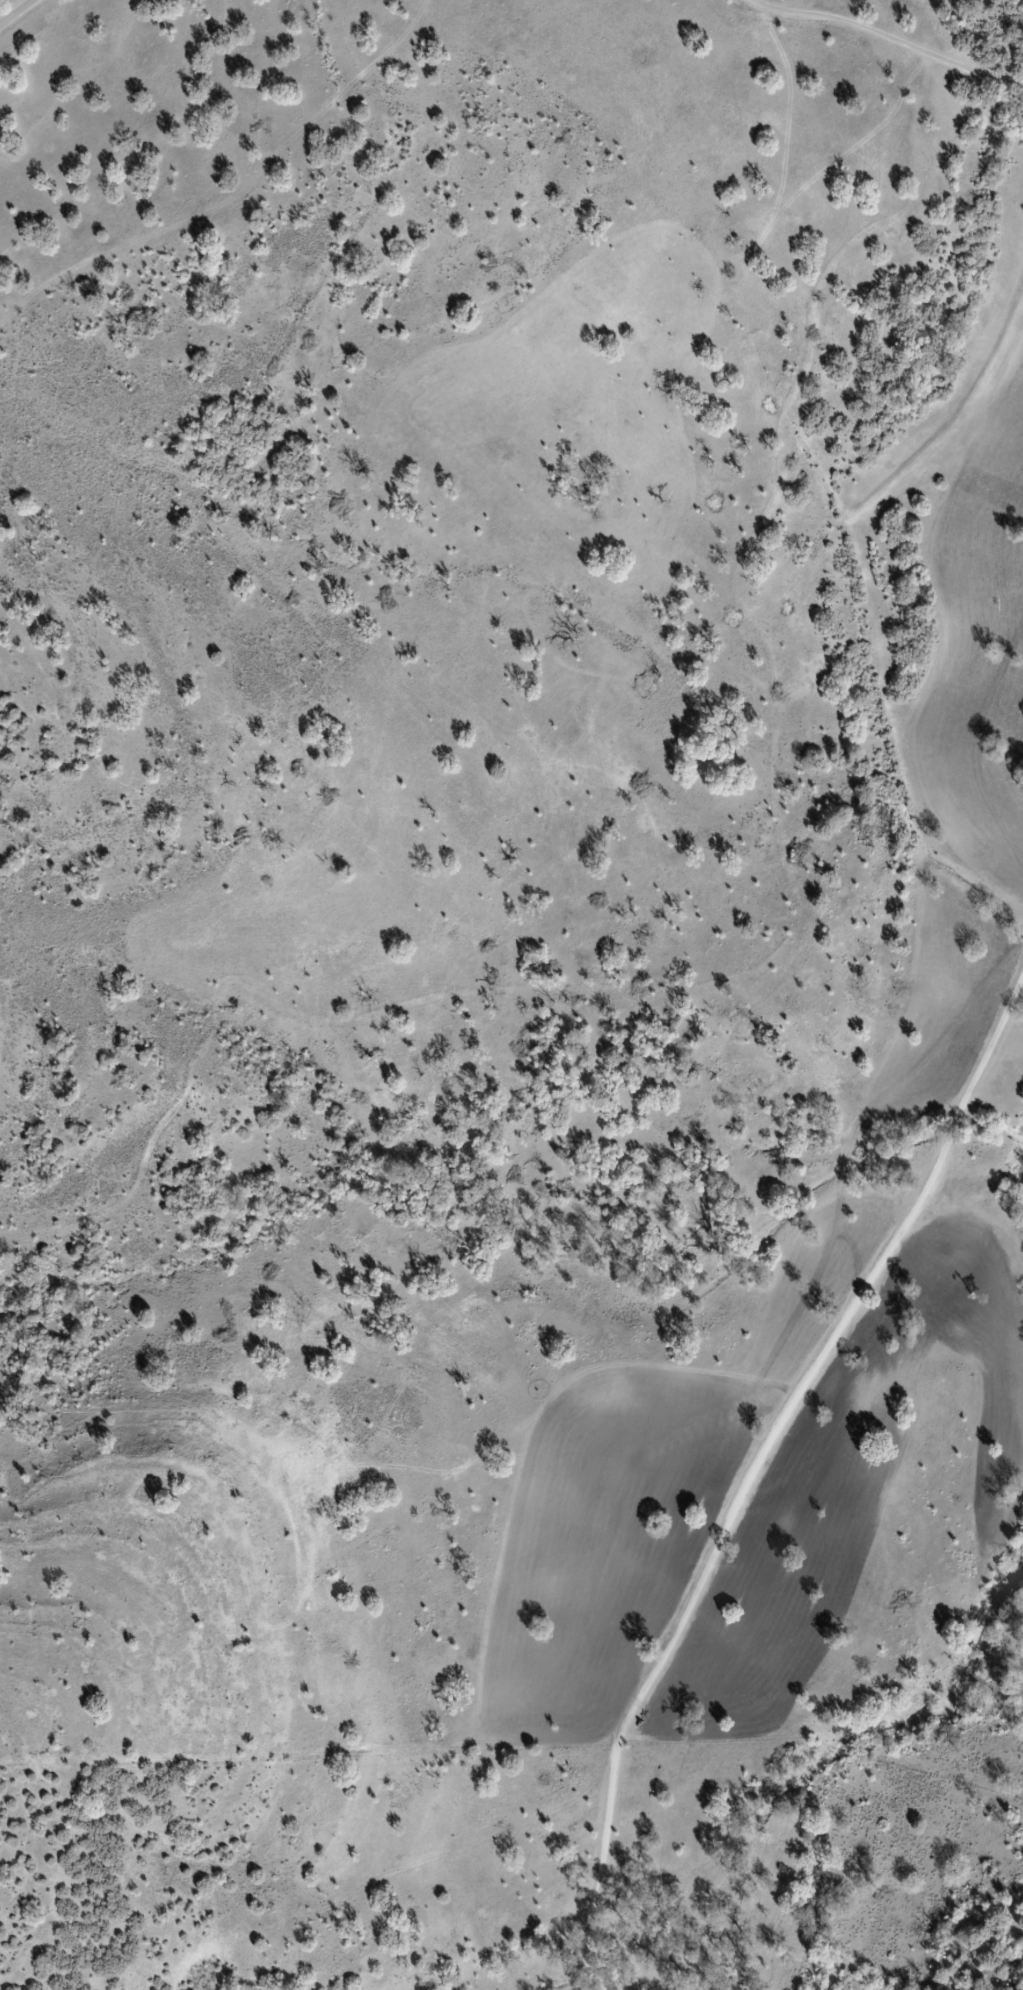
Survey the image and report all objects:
road: (17, 13)
road: (888, 41)
road: (763, 1470)

